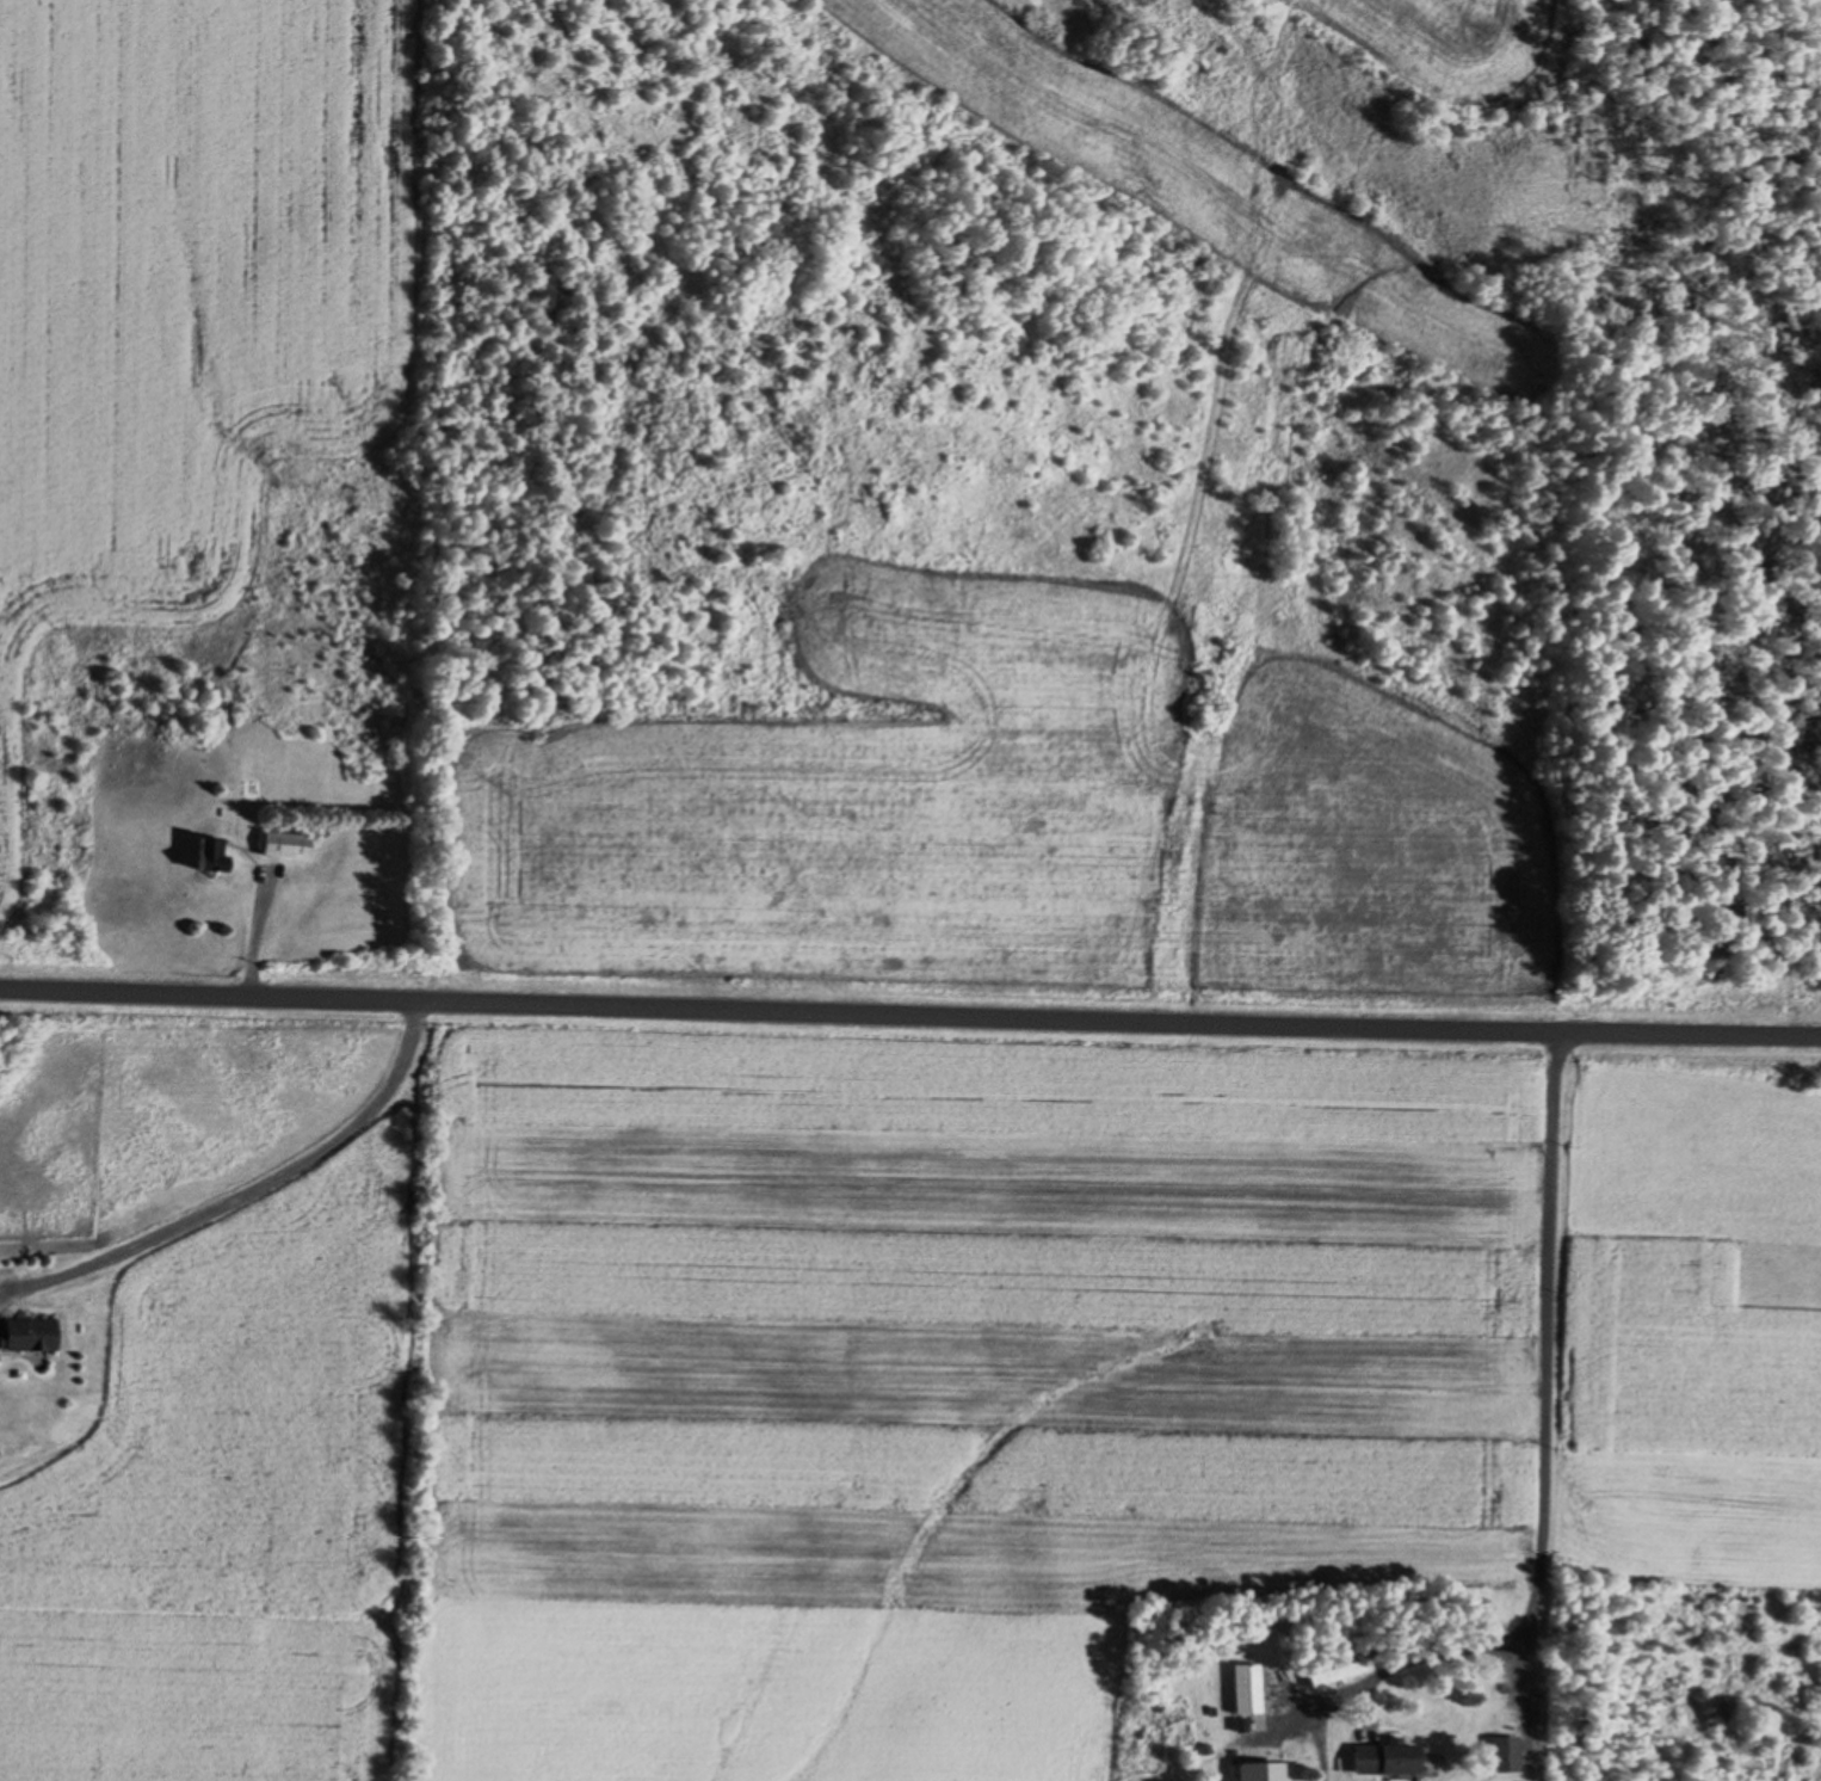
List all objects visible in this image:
building: (288, 845)
building: (212, 856)
road: (910, 1016)
building: (32, 1336)
road: (1575, 1406)
building: (1247, 1689)
building: (1504, 1756)
building: (1388, 1760)
building: (1263, 1773)

